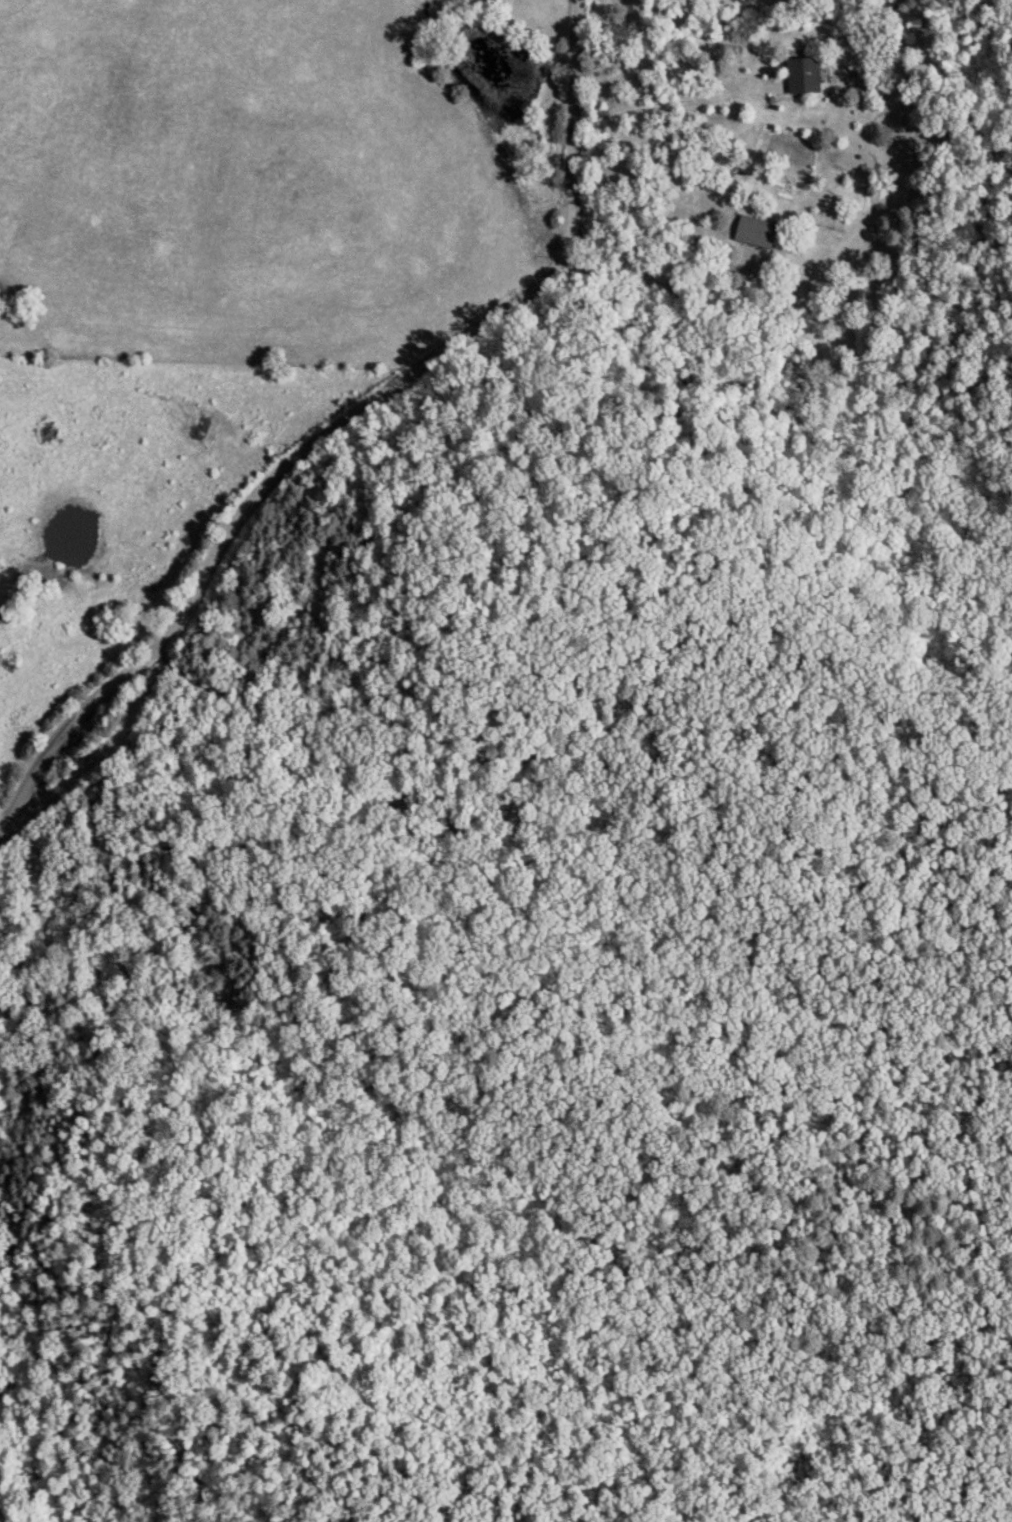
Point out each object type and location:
building: (803, 75)
road: (779, 392)
road: (356, 437)
road: (327, 827)
road: (1, 1519)

